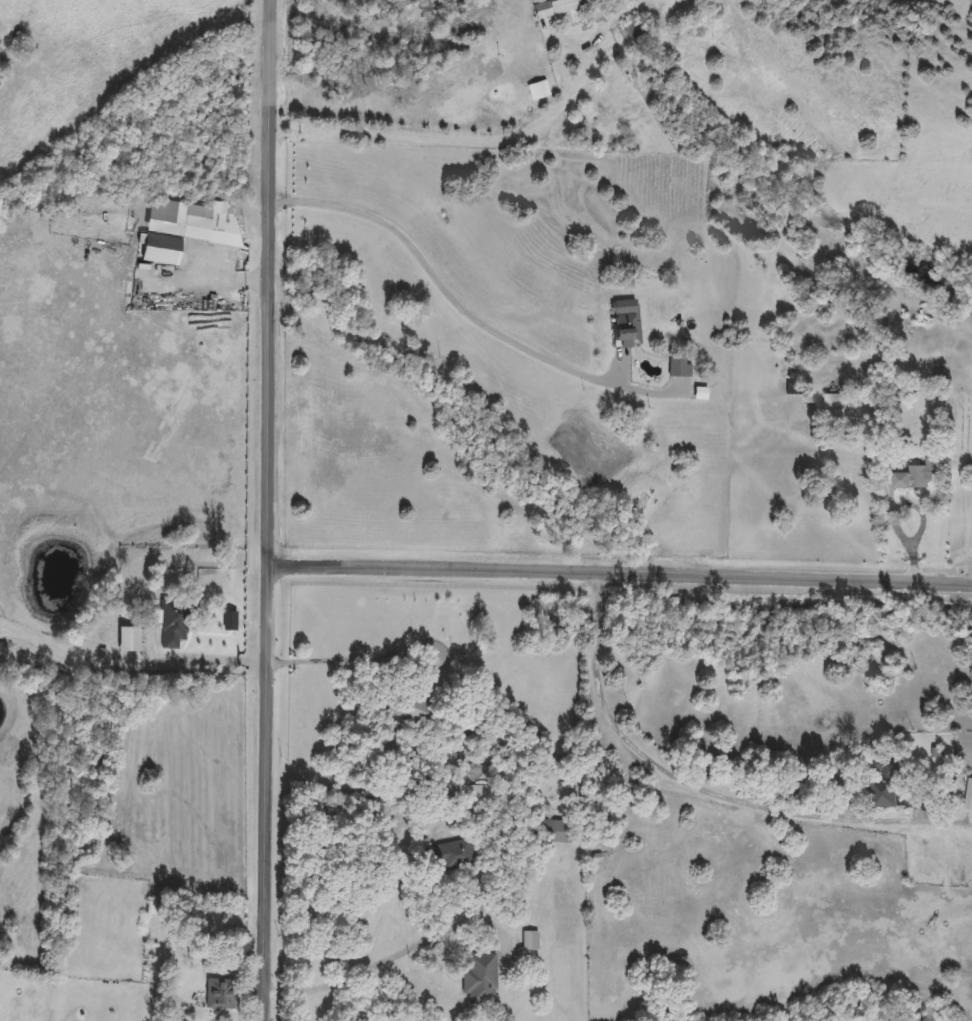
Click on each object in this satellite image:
building: (558, 8)
road: (612, 21)
building: (470, 26)
road: (475, 141)
building: (181, 235)
road: (455, 303)
building: (628, 323)
building: (680, 368)
building: (703, 393)
building: (837, 406)
building: (920, 475)
building: (642, 500)
road: (264, 510)
road: (617, 577)
building: (175, 623)
building: (2, 653)
road: (207, 660)
road: (683, 781)
building: (889, 782)
building: (558, 832)
building: (454, 855)
building: (154, 909)
building: (531, 941)
road: (371, 965)
building: (480, 979)
building: (222, 994)

